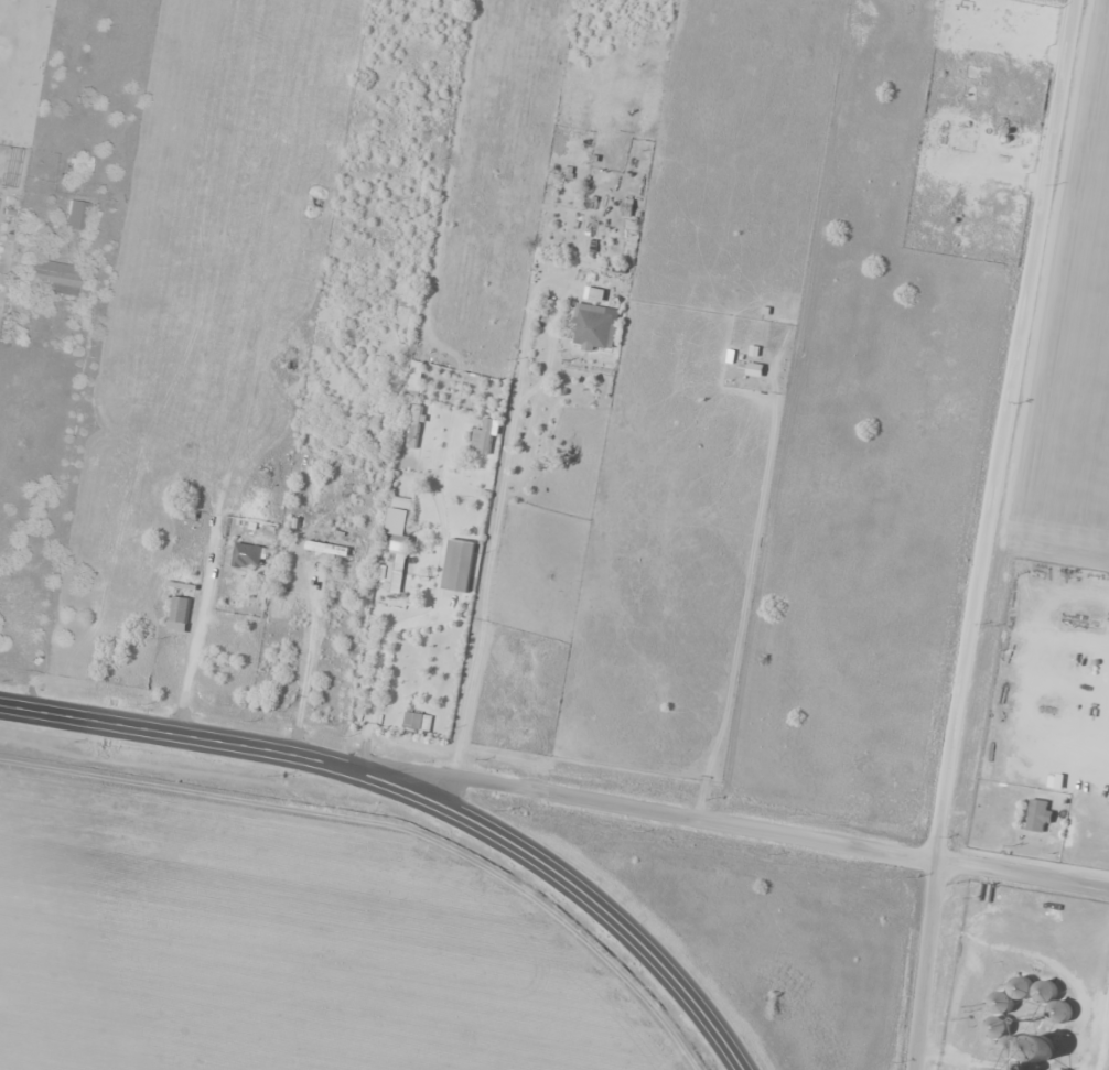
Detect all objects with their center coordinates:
building: (82, 164)
building: (79, 216)
building: (55, 278)
building: (593, 329)
building: (414, 425)
road: (1001, 430)
building: (397, 518)
building: (326, 549)
building: (247, 556)
building: (395, 565)
building: (459, 566)
building: (179, 615)
road: (418, 796)
road: (741, 825)
building: (1063, 907)
road: (922, 965)
building: (1033, 991)
building: (1058, 1007)
building: (1031, 1026)
building: (997, 1028)

